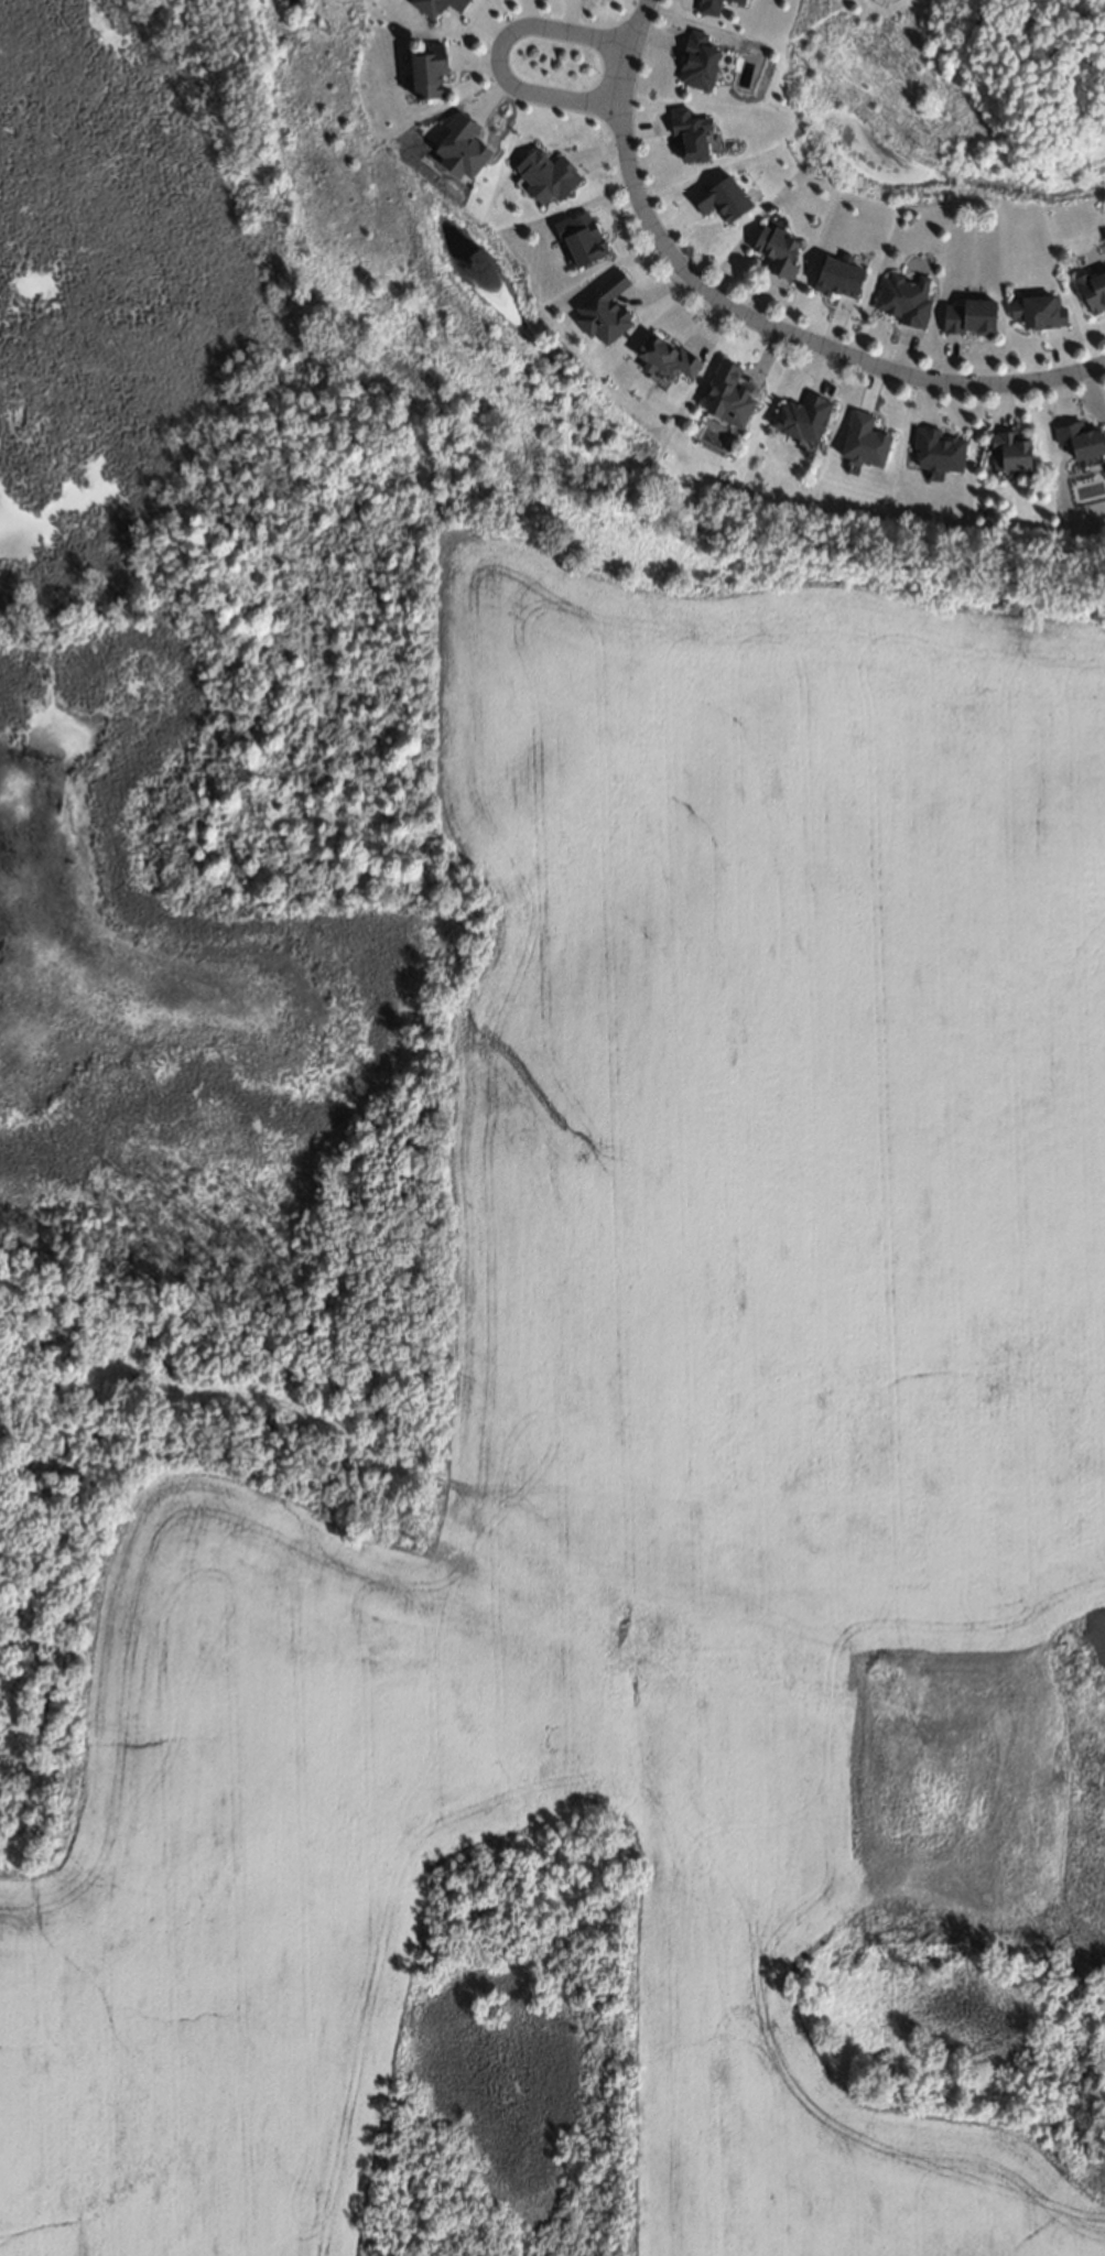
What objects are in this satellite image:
building: (739, 0)
building: (745, 0)
building: (437, 4)
building: (706, 6)
road: (500, 50)
building: (695, 61)
building: (426, 70)
building: (687, 132)
building: (463, 148)
building: (548, 176)
building: (718, 195)
building: (582, 236)
building: (773, 249)
building: (837, 273)
building: (1092, 288)
building: (901, 297)
building: (602, 308)
building: (1036, 310)
road: (748, 312)
building: (967, 316)
building: (664, 355)
building: (726, 393)
building: (800, 415)
building: (1077, 435)
building: (863, 437)
building: (938, 446)
building: (1006, 449)
building: (982, 511)
building: (1081, 1700)
building: (1101, 1777)
building: (1006, 1876)

